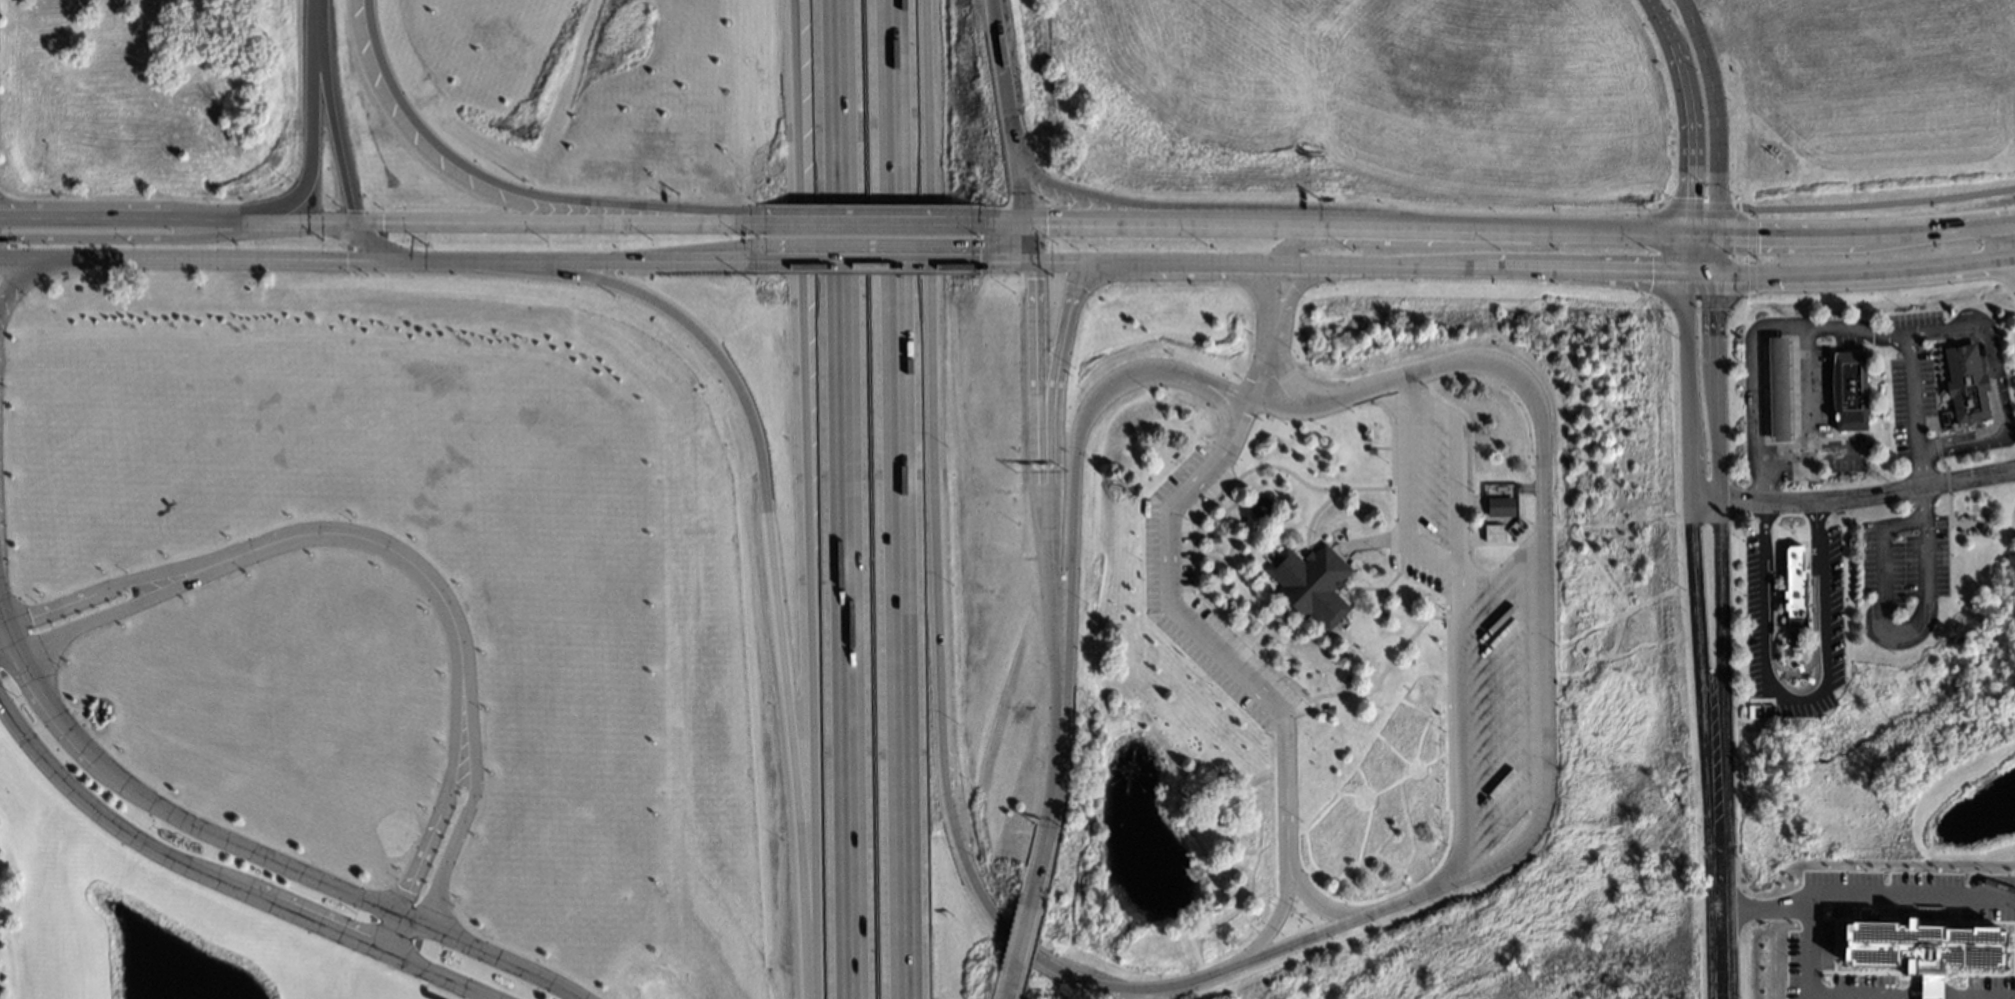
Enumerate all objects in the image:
road: (1006, 111)
road: (331, 112)
road: (1685, 113)
road: (1713, 115)
road: (311, 121)
road: (506, 188)
road: (1875, 203)
road: (1208, 207)
road: (178, 221)
road: (872, 221)
road: (1009, 222)
traffic signals: (358, 223)
road: (556, 223)
traffic signals: (1027, 223)
road: (1356, 228)
road: (1939, 230)
traffic signals: (1685, 236)
road: (1699, 236)
traffic signals: (1713, 236)
road: (1788, 236)
road: (133, 240)
road: (1298, 241)
road: (1030, 243)
road: (371, 244)
road: (195, 257)
traffic signals: (391, 259)
road: (571, 261)
road: (872, 261)
road: (1012, 262)
traffic signals: (1033, 263)
traffic signals: (1079, 263)
road: (27, 267)
road: (1524, 271)
traffic signals: (1684, 273)
traffic signals: (1713, 273)
road: (1262, 332)
road: (1962, 338)
parking lot: (1844, 341)
road: (1758, 342)
parking lot: (1992, 350)
parking lot: (1978, 354)
road: (1276, 355)
parking lot: (1907, 377)
road: (1036, 378)
road: (1875, 378)
building: (1963, 382)
road: (1995, 385)
parking lot: (1819, 386)
road: (1937, 386)
road: (1831, 387)
road: (1931, 387)
road: (1374, 388)
building: (1777, 388)
gas station: (1777, 388)
building: (1848, 390)
road: (1218, 404)
road: (1915, 408)
road: (1300, 411)
road: (1803, 414)
road: (1830, 422)
road: (1238, 425)
road: (1050, 428)
road: (1984, 429)
road: (1935, 445)
building: (1369, 448)
road: (1783, 450)
road: (1456, 463)
parking lot: (1842, 463)
road: (1940, 463)
flagpole: (1112, 465)
flagpole: (1130, 466)
flagpole: (1148, 466)
road: (1071, 471)
road: (1944, 480)
road: (1402, 492)
road: (1922, 496)
road: (1852, 497)
road: (804, 499)
road: (840, 499)
road: (889, 499)
road: (1946, 499)
building: (1499, 508)
park: (1962, 520)
building: (1490, 530)
road: (767, 536)
building: (1214, 539)
road: (384, 549)
parking lot: (1902, 556)
parking lot: (1166, 560)
road: (1692, 574)
road: (1719, 574)
road: (110, 585)
building: (1310, 585)
building: (1793, 586)
parking lot: (1755, 603)
road: (1046, 604)
road: (113, 609)
parking lot: (1830, 611)
building: (1382, 613)
parking lot: (1469, 622)
road: (1884, 631)
road: (1544, 636)
road: (1221, 653)
road: (937, 667)
road: (1783, 672)
road: (1800, 686)
road: (1795, 698)
building: (1328, 711)
road: (1462, 728)
road: (1051, 815)
road: (434, 822)
road: (457, 829)
road: (250, 853)
road: (228, 886)
road: (1911, 887)
road: (1320, 906)
road: (1811, 921)
road: (1270, 925)
road: (1023, 942)
building: (1921, 949)
road: (1718, 955)
road: (1012, 984)
road: (1937, 995)

